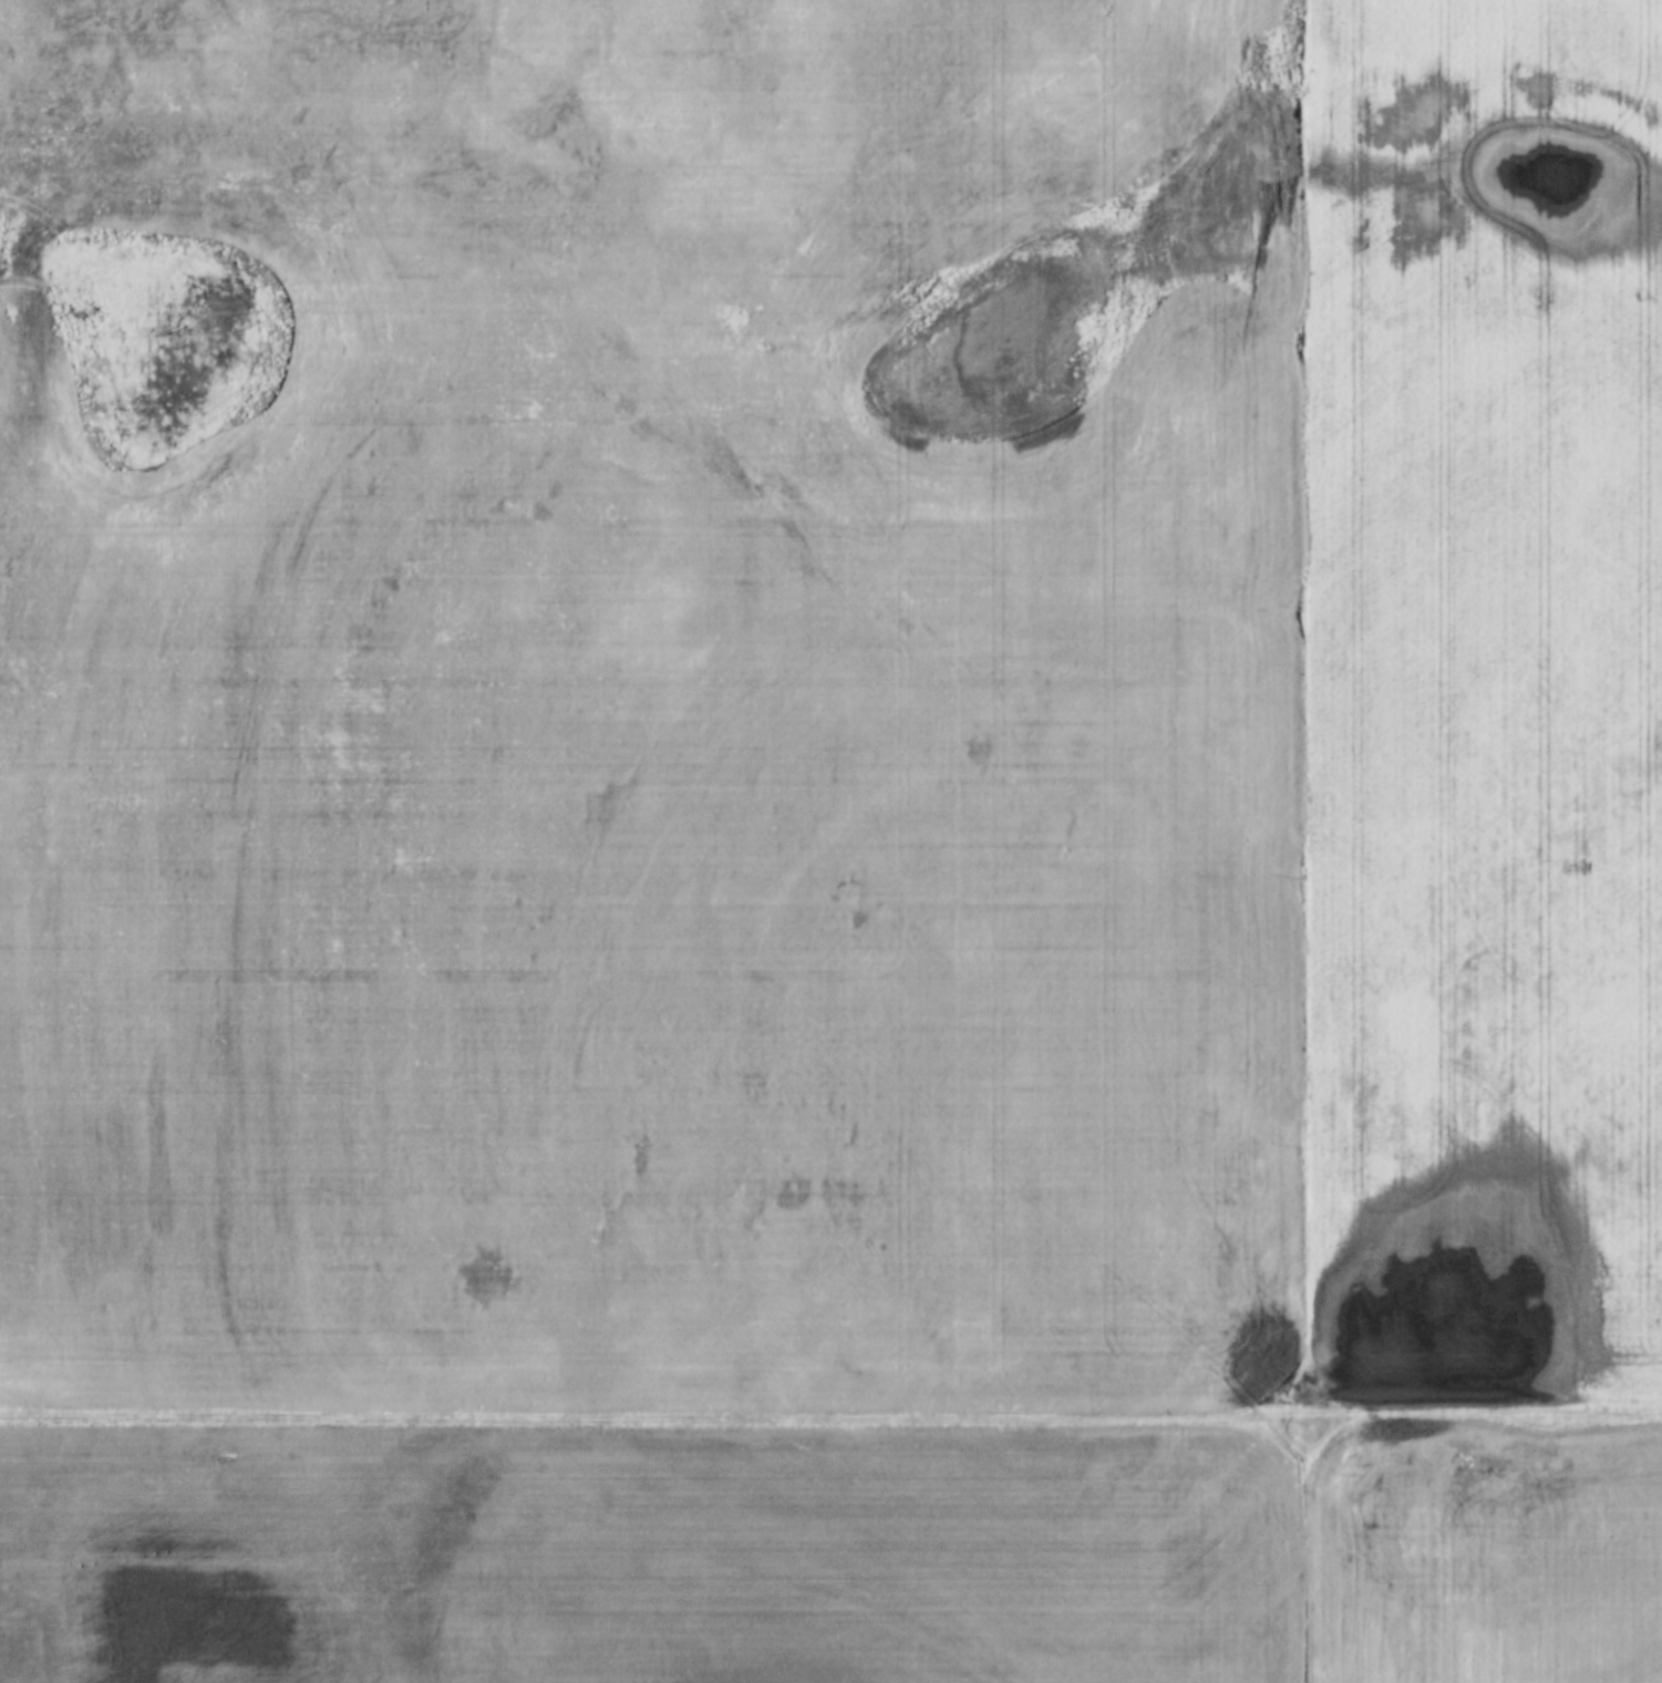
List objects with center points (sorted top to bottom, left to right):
road: (1308, 841)
road: (830, 1415)

